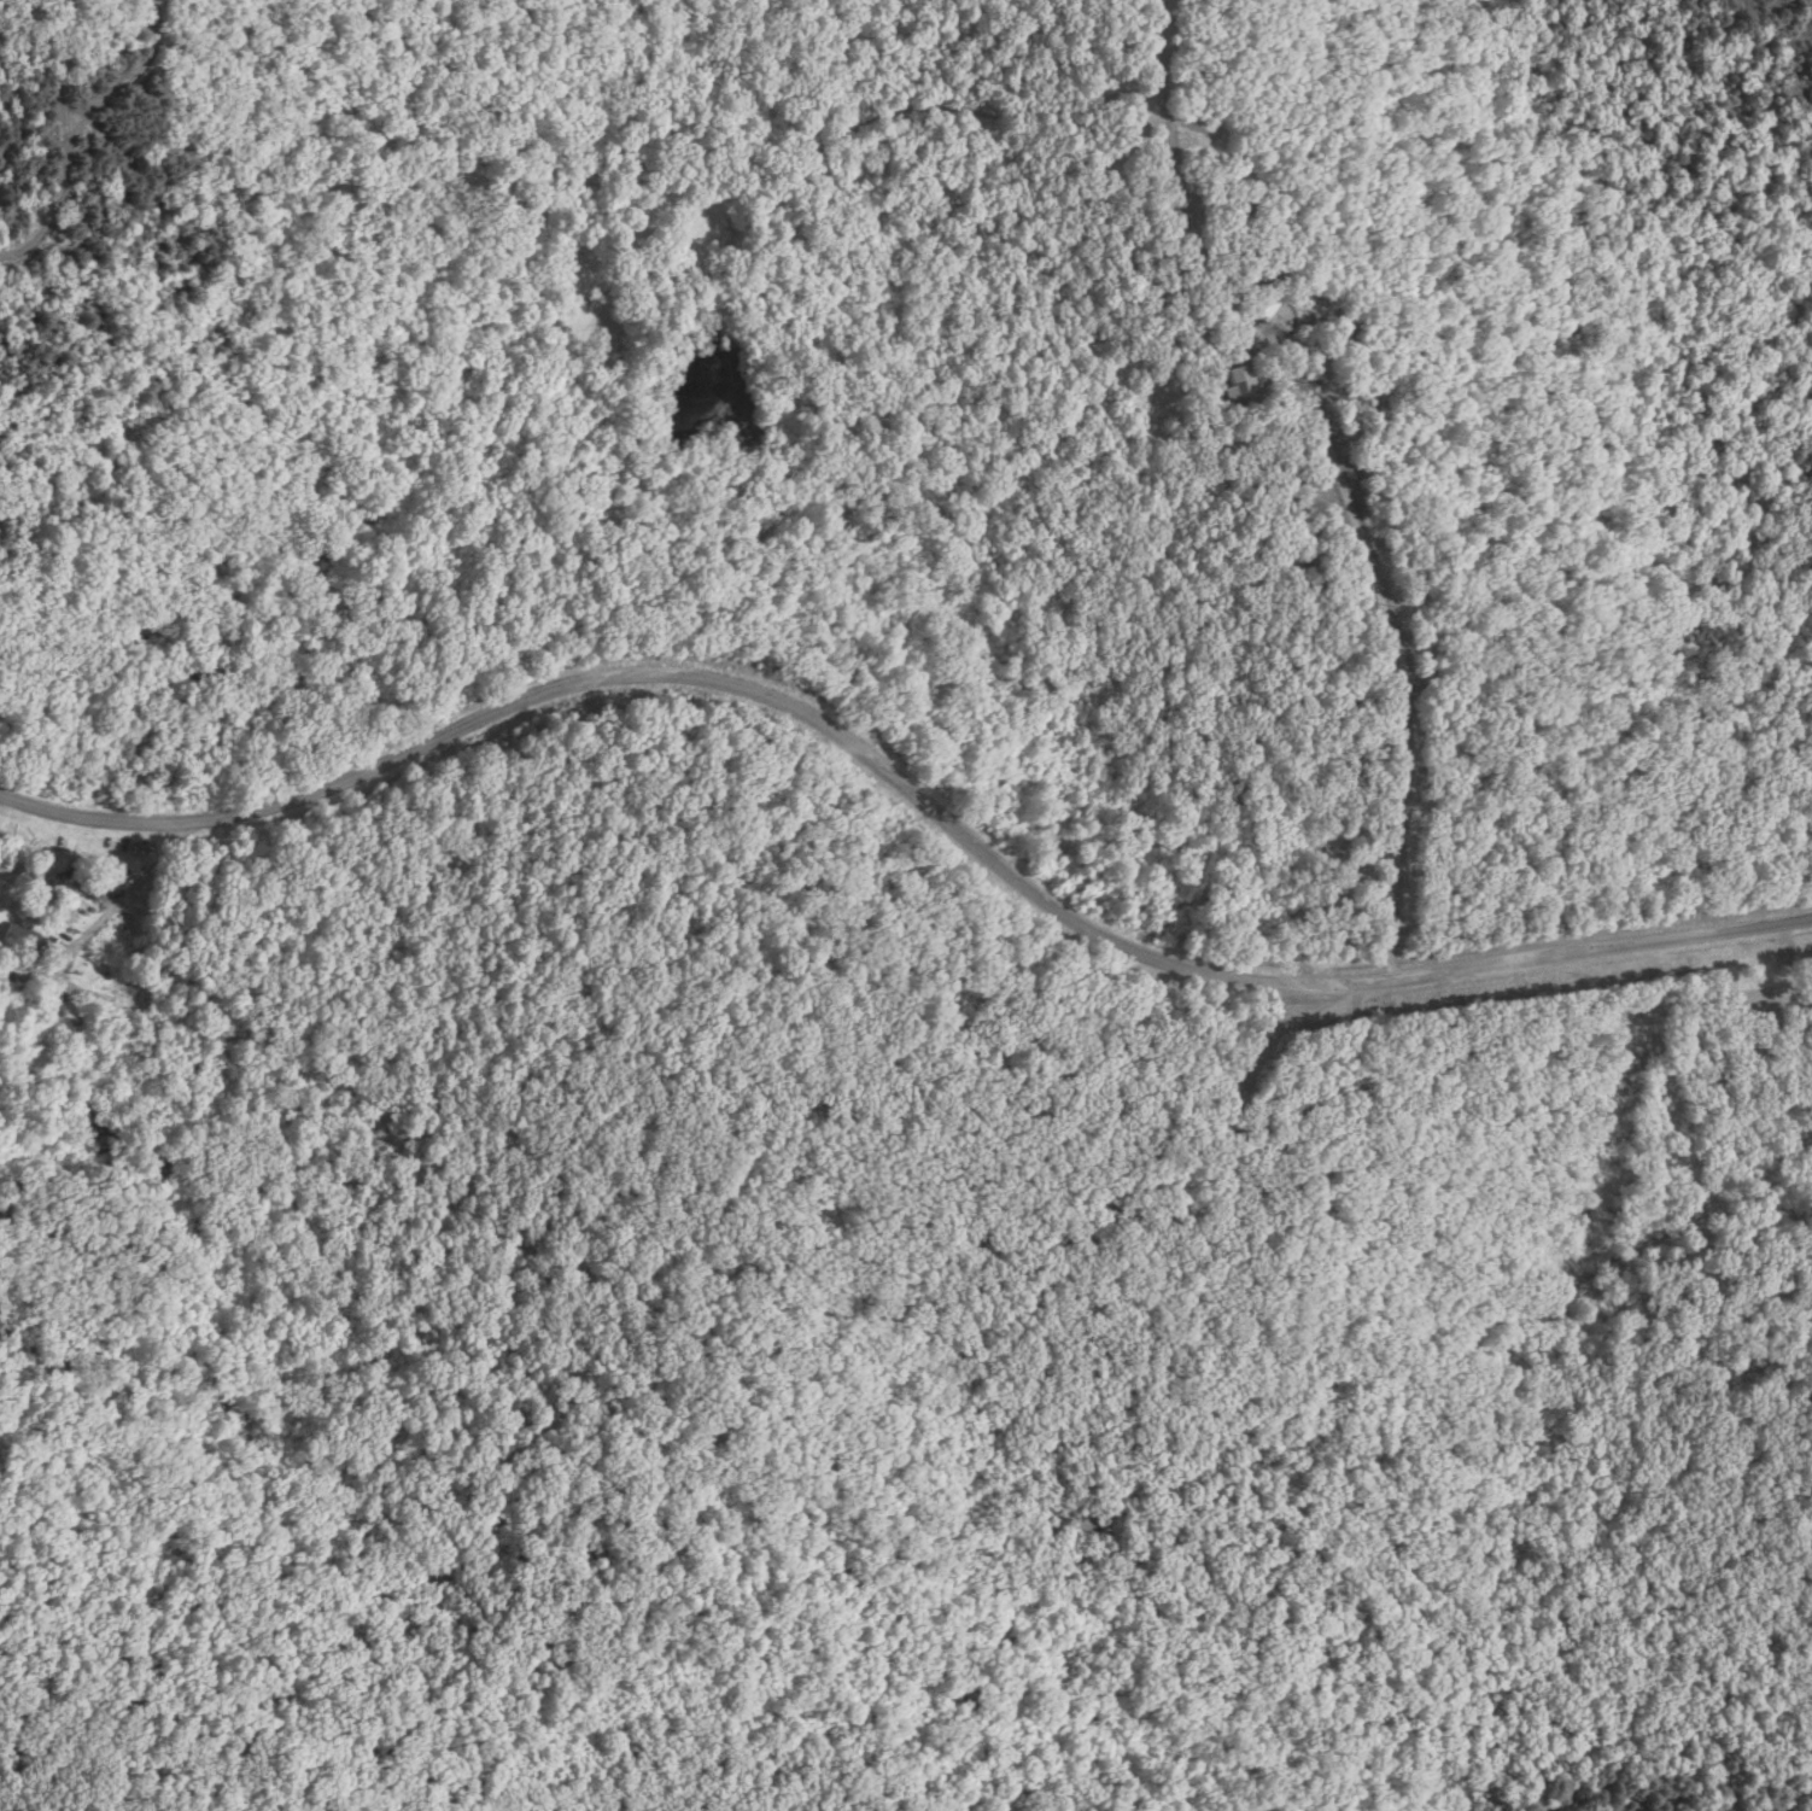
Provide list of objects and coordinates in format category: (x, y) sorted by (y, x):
building: (1226, 384)
road: (1398, 639)
road: (907, 777)
road: (130, 869)

